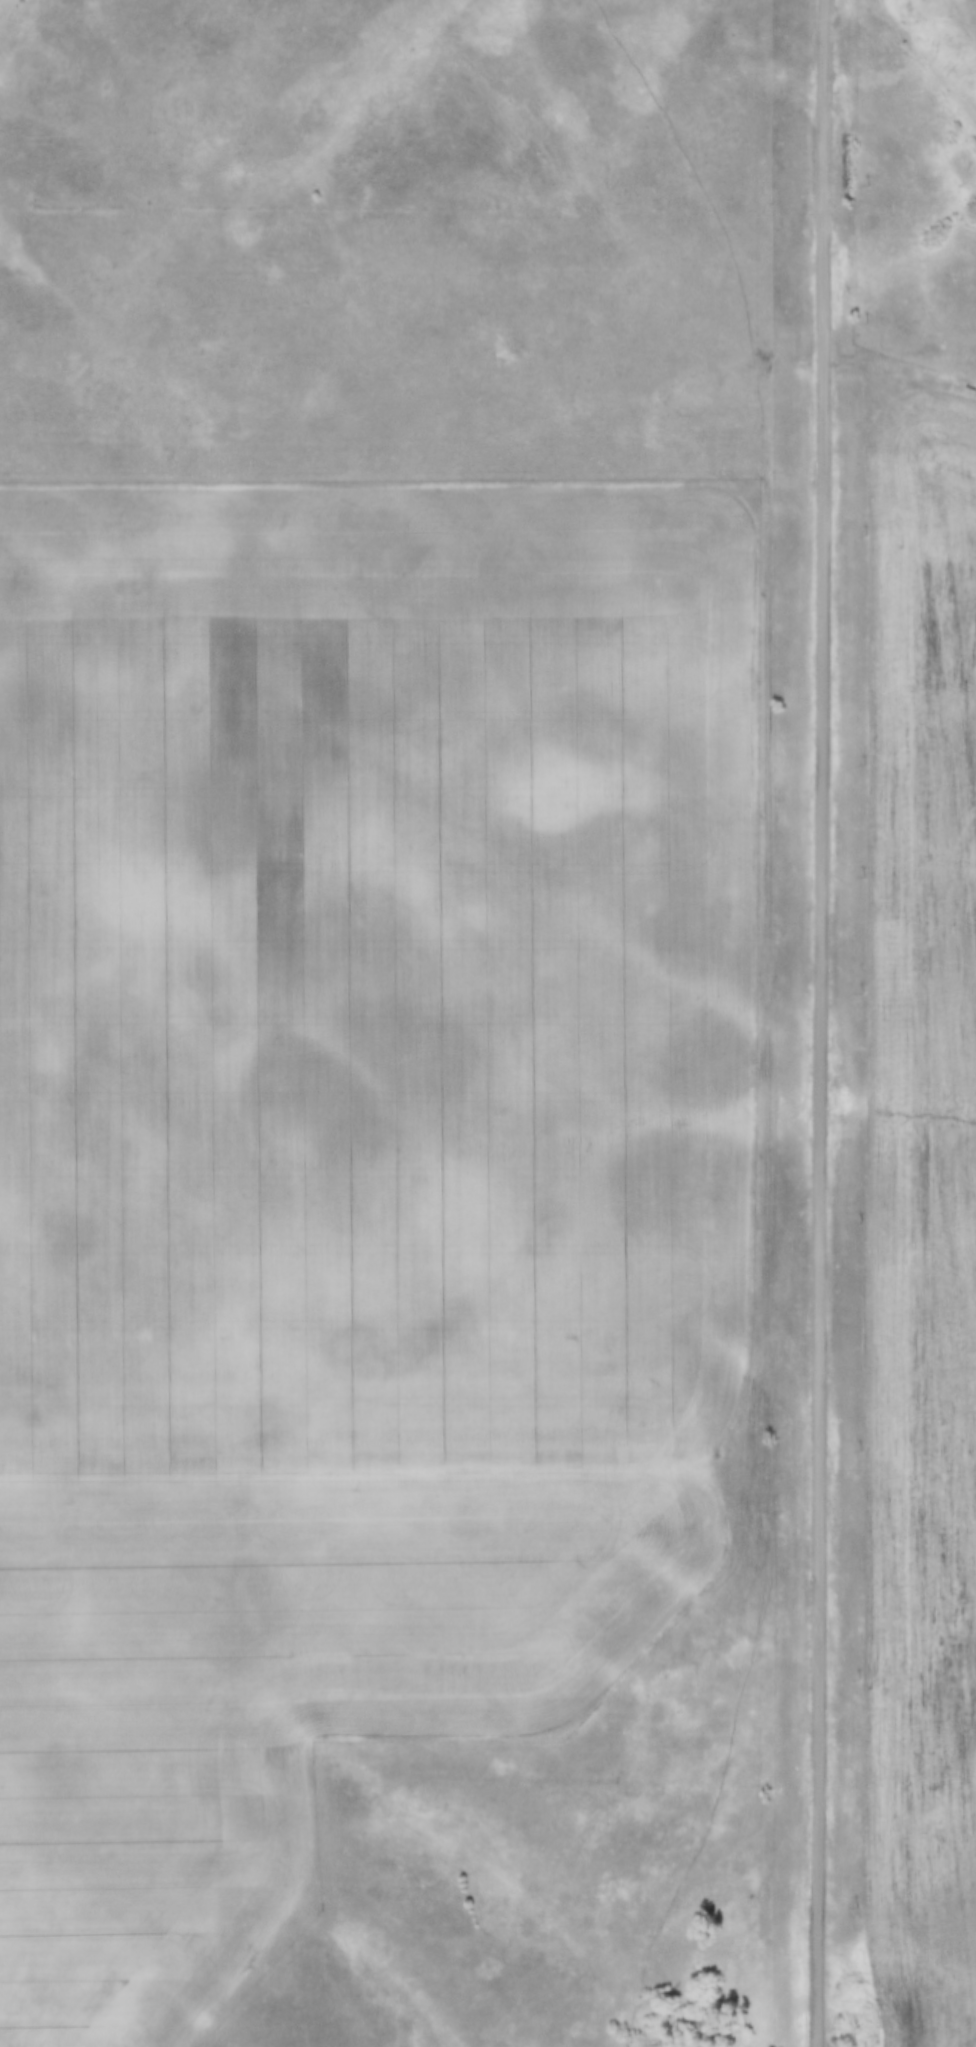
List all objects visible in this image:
road: (819, 1023)

